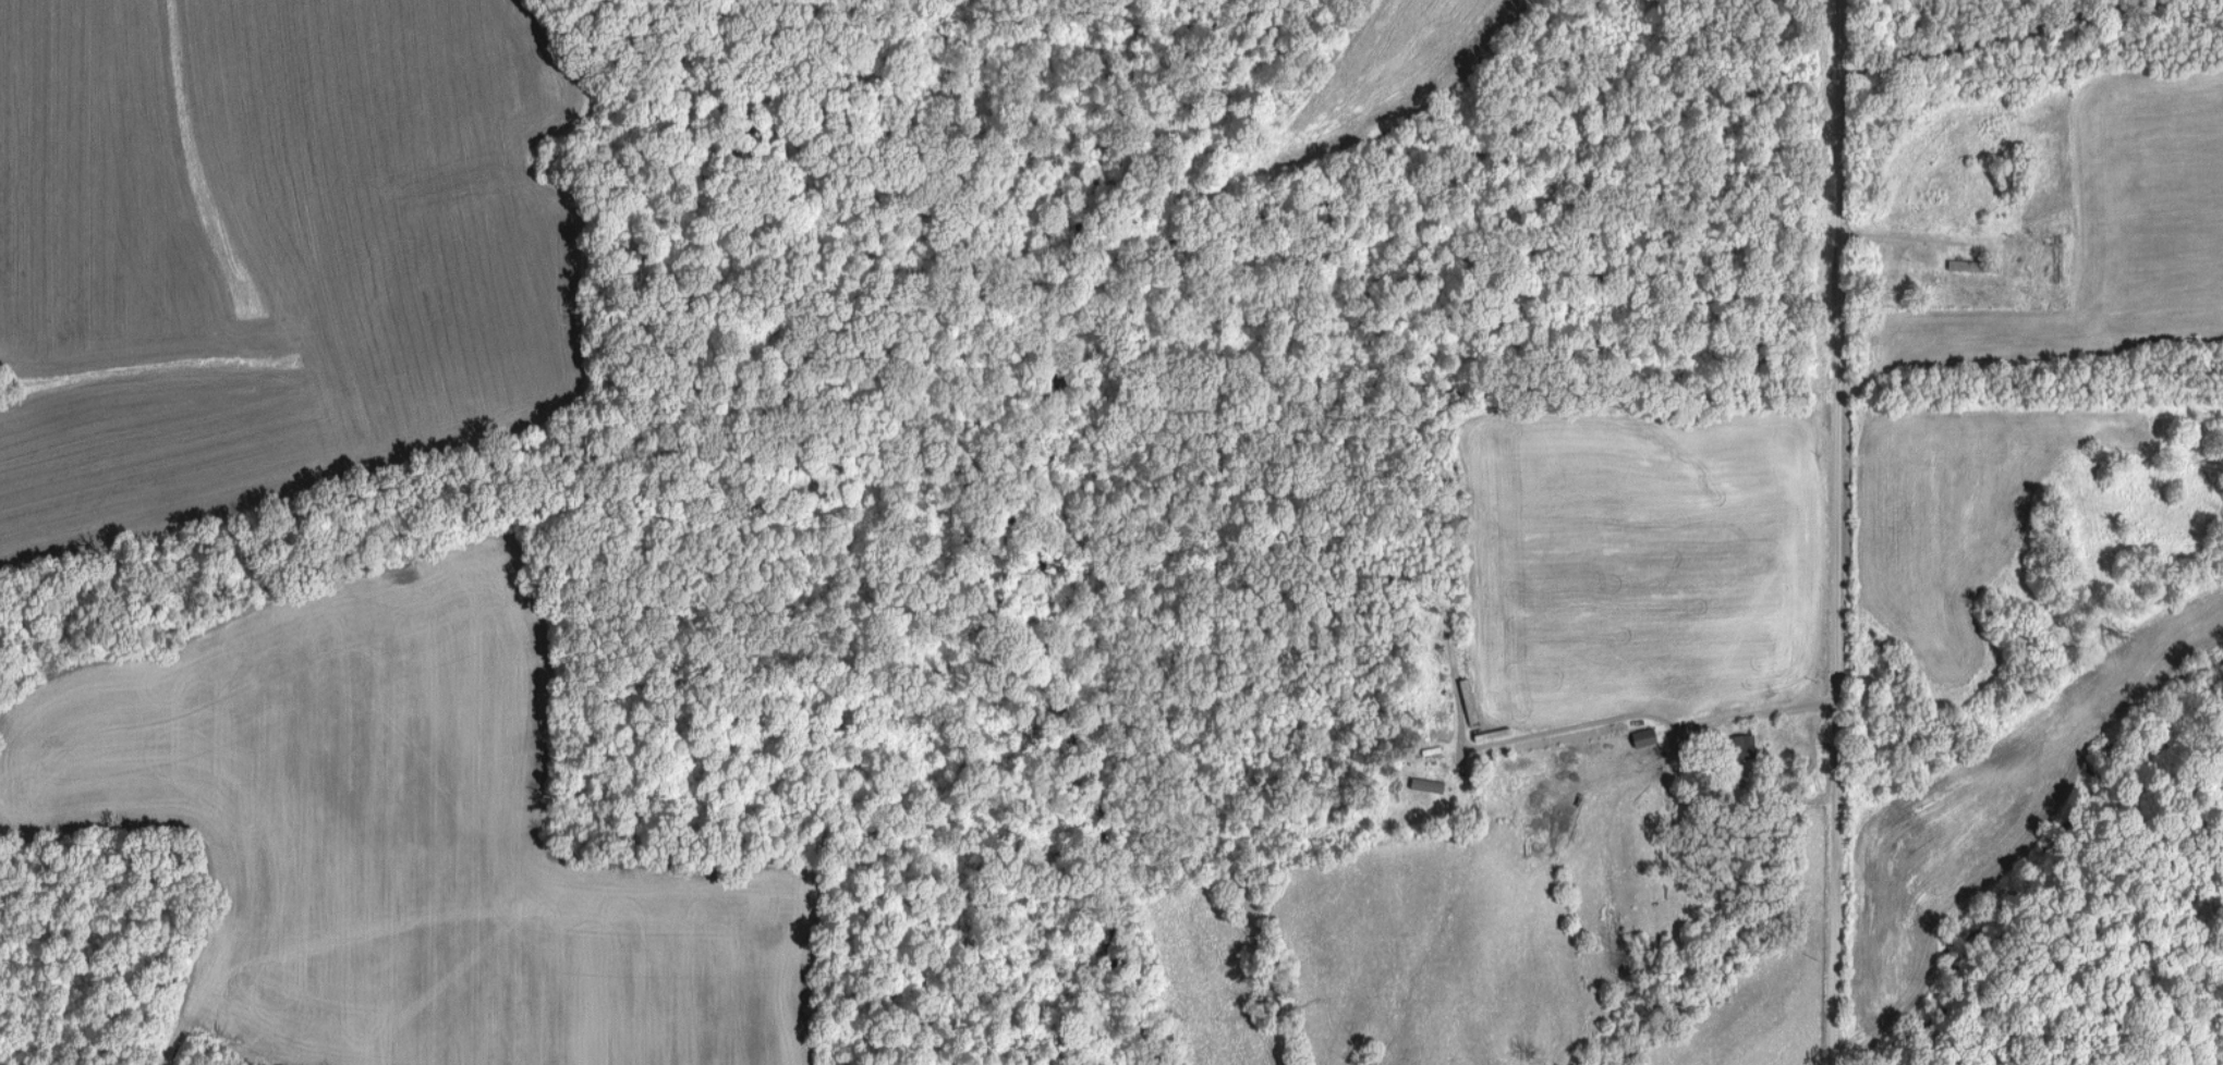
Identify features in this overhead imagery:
road: (1842, 531)
building: (1639, 736)

